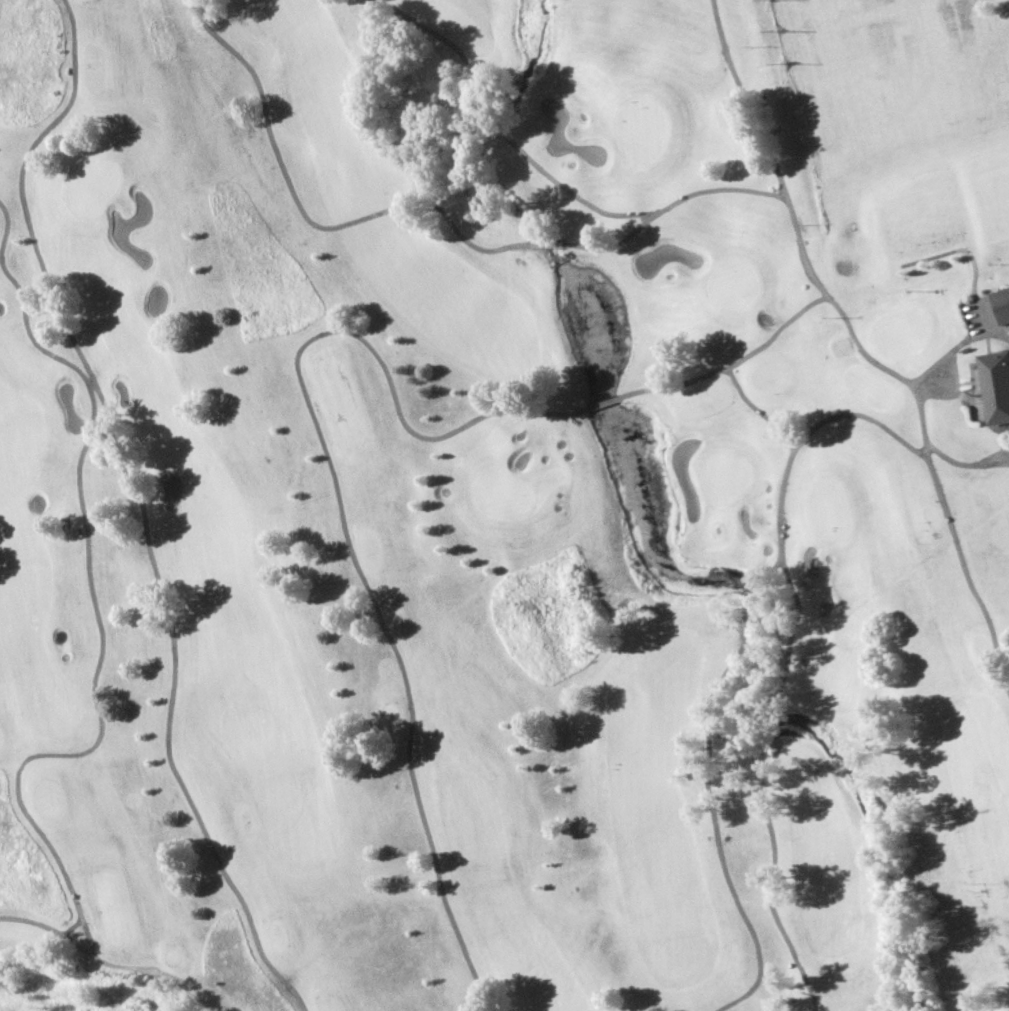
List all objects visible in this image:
building: (1001, 303)
building: (995, 385)
park: (504, 505)

